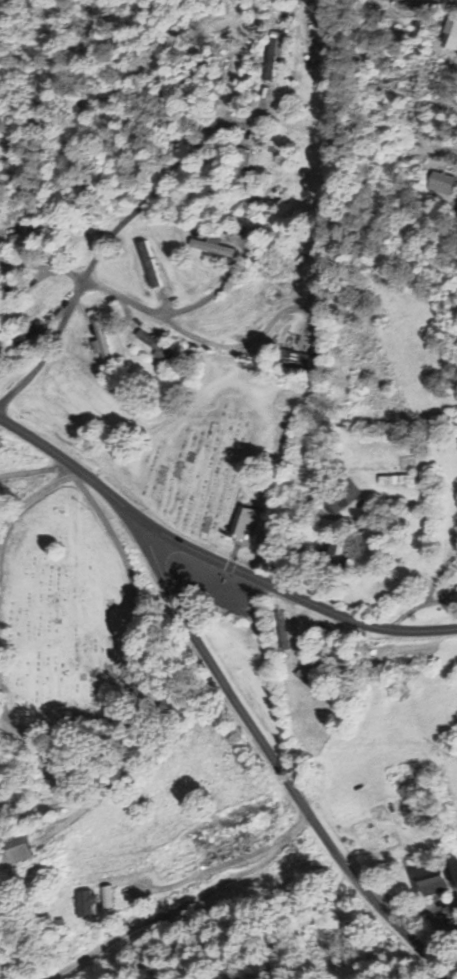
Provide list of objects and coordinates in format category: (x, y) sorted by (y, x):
road: (449, 148)
road: (97, 249)
road: (209, 298)
road: (180, 328)
road: (65, 461)
building: (246, 529)
road: (286, 591)
building: (456, 593)
road: (268, 756)
building: (15, 850)
road: (223, 865)
building: (428, 881)
building: (105, 897)
building: (84, 903)
road: (186, 906)

